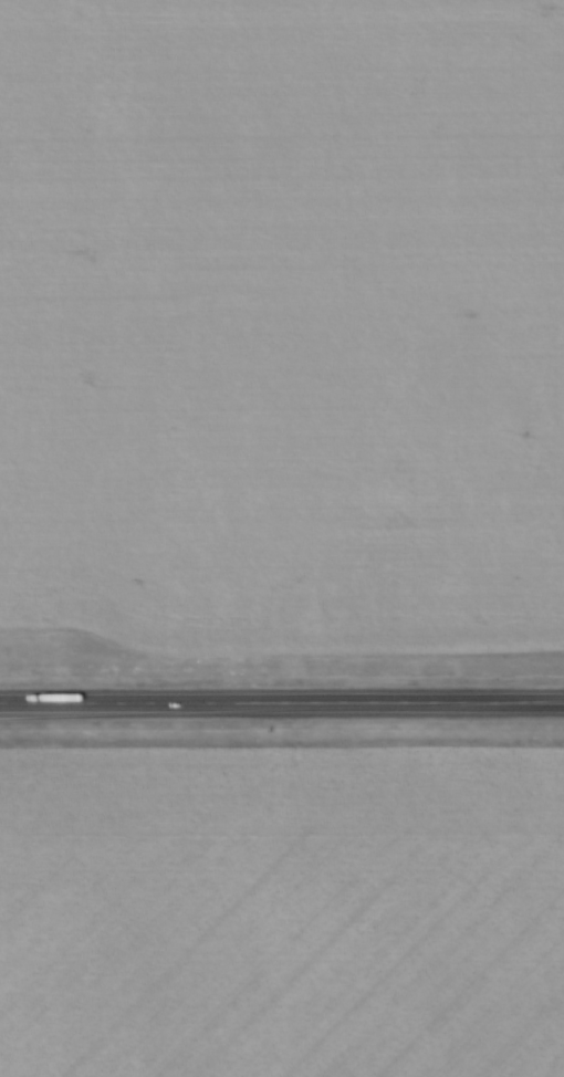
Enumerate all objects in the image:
road: (282, 702)

